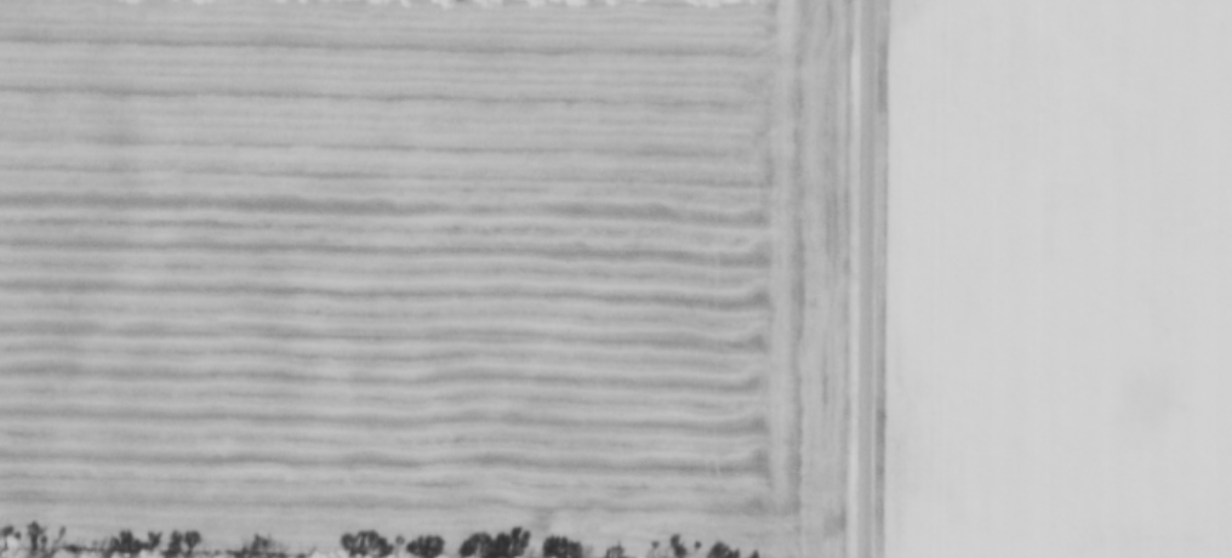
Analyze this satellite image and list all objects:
road: (871, 278)

